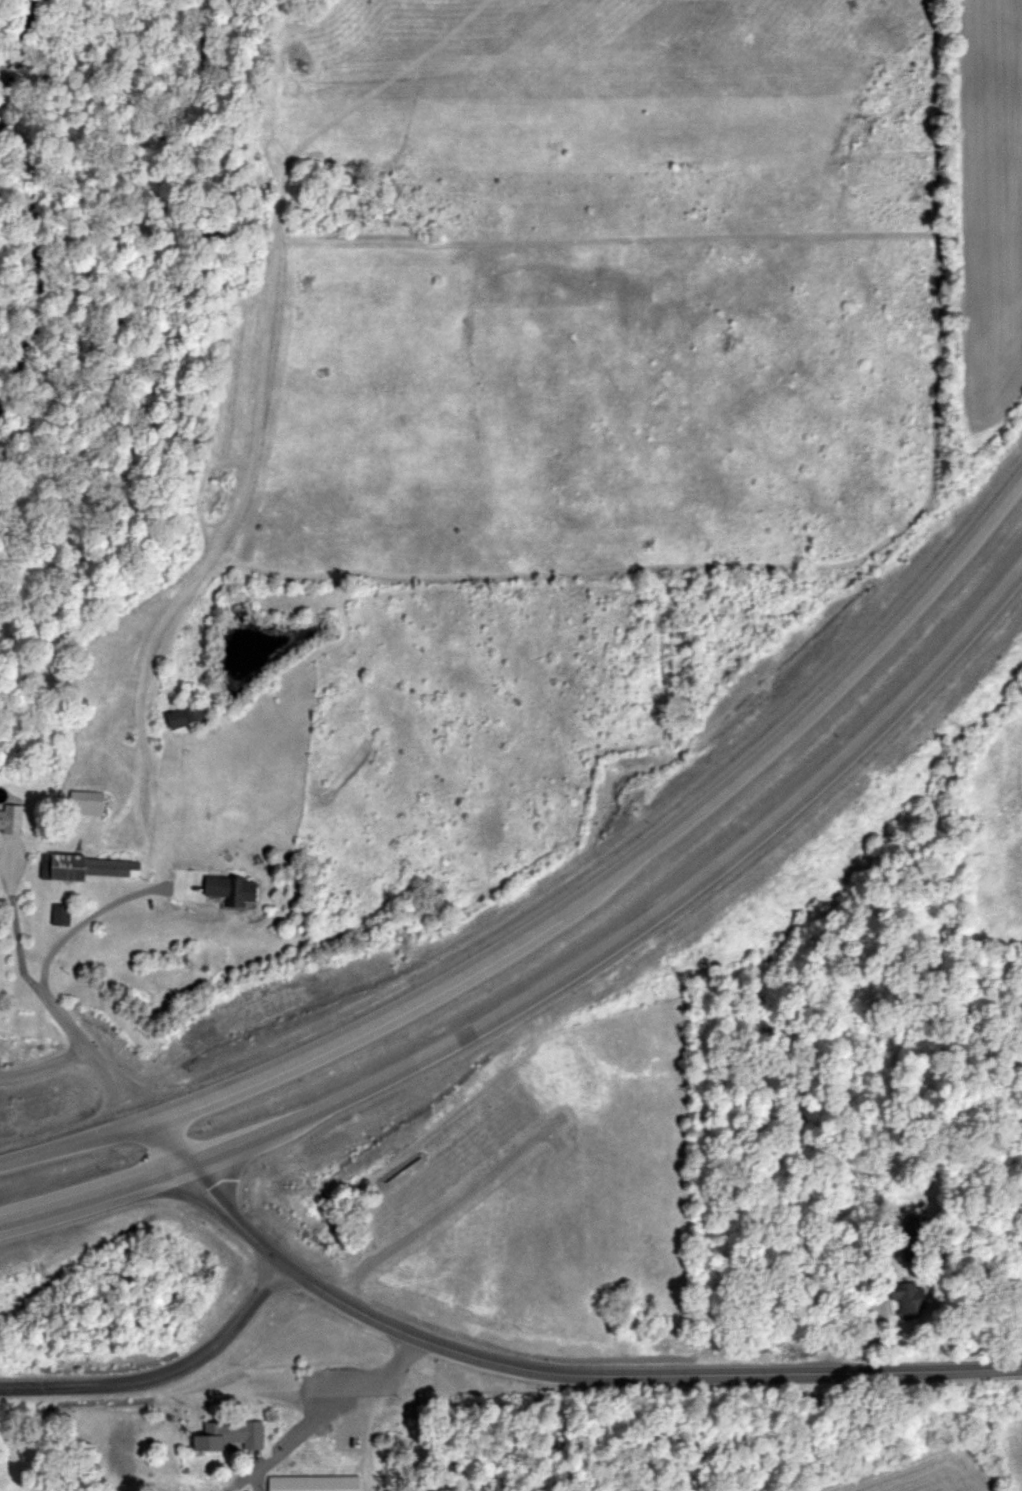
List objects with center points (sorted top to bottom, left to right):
building: (191, 717)
building: (89, 803)
building: (11, 818)
building: (83, 867)
building: (236, 888)
road: (569, 899)
building: (63, 915)
road: (103, 916)
road: (23, 956)
road: (566, 974)
road: (45, 1068)
road: (116, 1084)
road: (868, 1297)
road: (401, 1359)
road: (541, 1367)
road: (161, 1370)
road: (307, 1424)
road: (367, 1432)
building: (232, 1436)
road: (112, 1437)
building: (349, 1437)
crop: (913, 1465)
road: (239, 1481)
building: (316, 1483)

